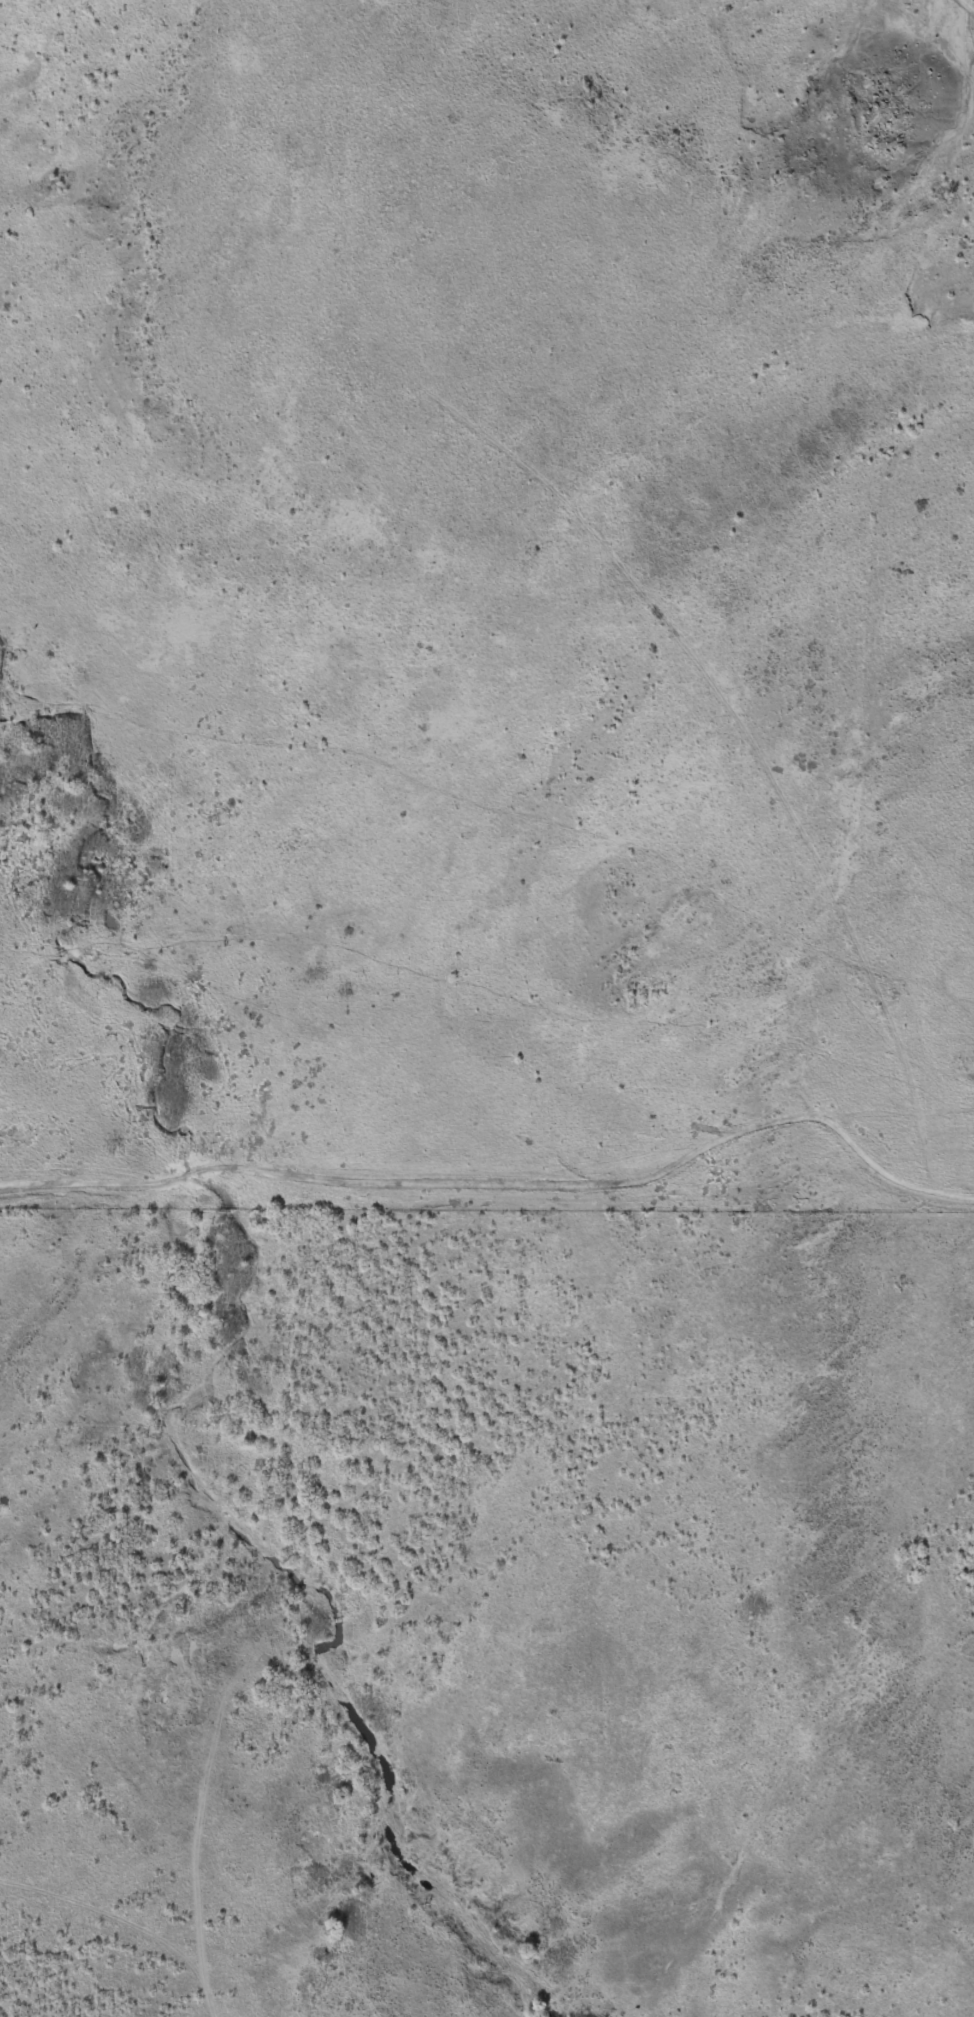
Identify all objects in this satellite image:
road: (919, 36)
road: (486, 1212)

